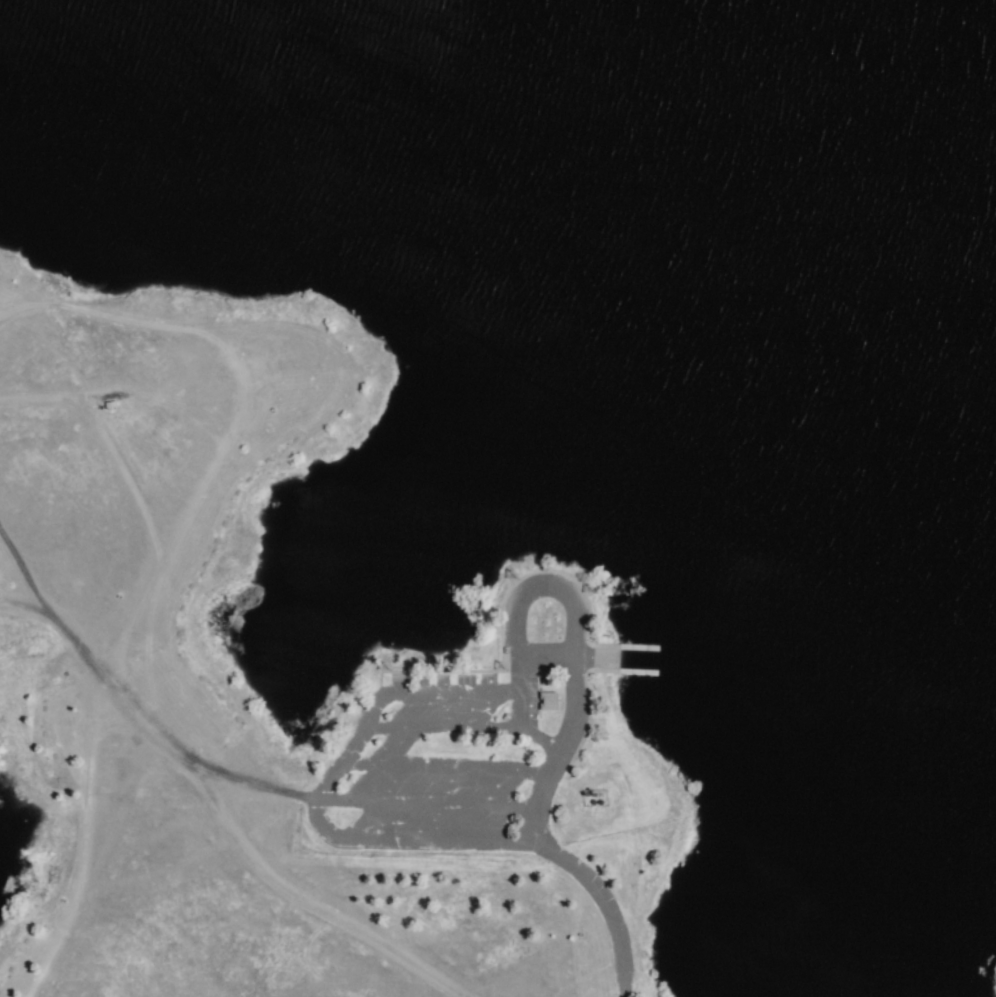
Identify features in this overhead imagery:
road: (528, 586)
building: (548, 701)
road: (577, 871)

